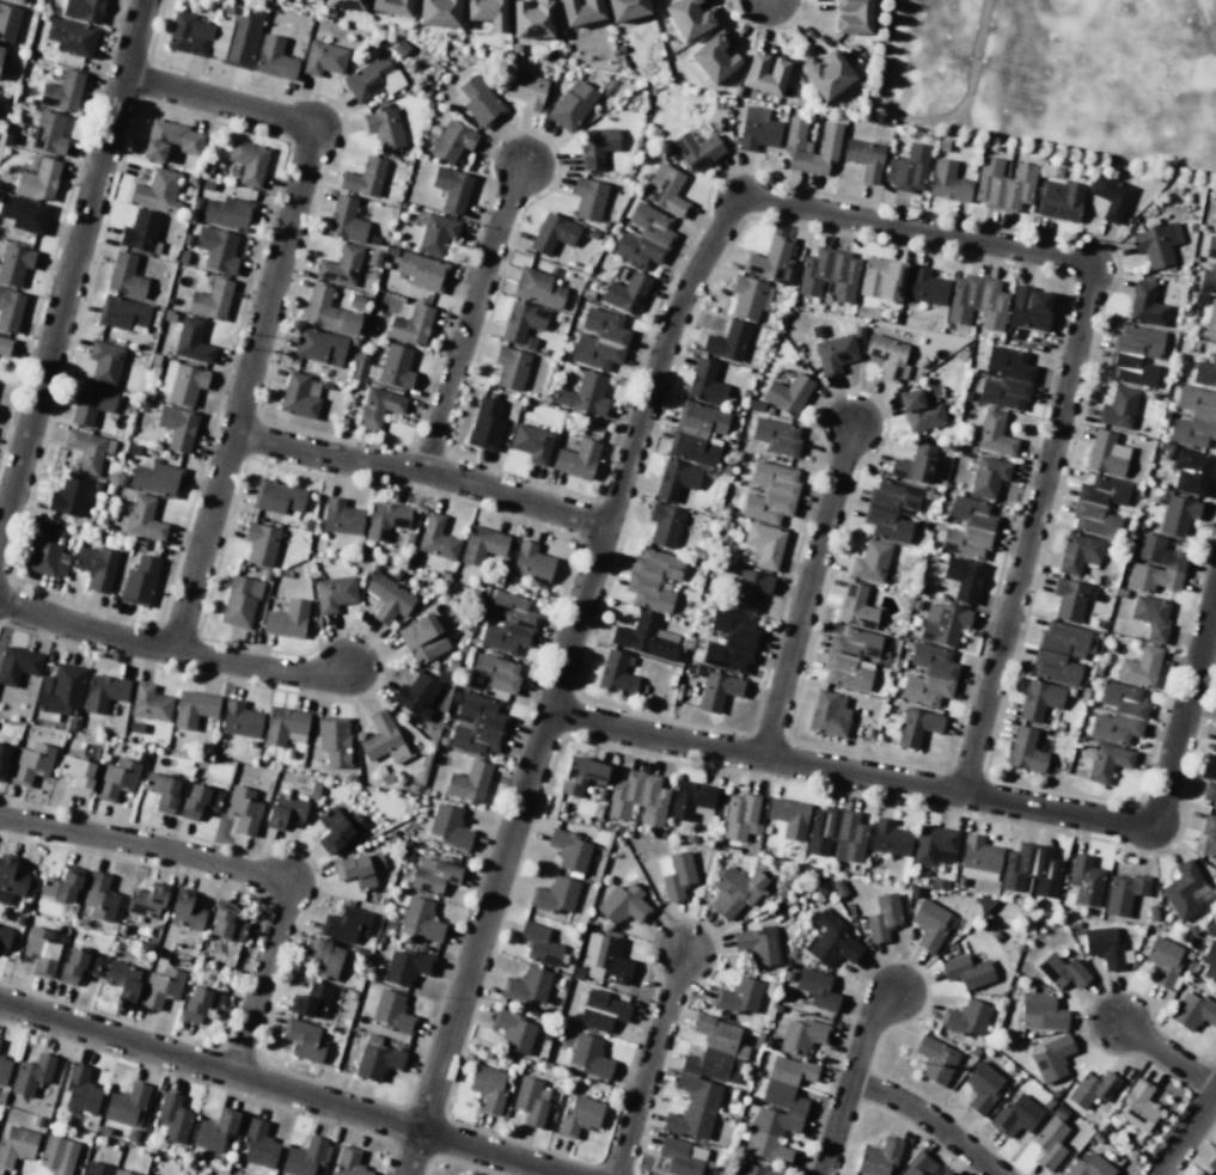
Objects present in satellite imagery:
building: (19, 0)
building: (346, 4)
building: (391, 6)
building: (625, 8)
building: (83, 10)
building: (580, 11)
building: (438, 12)
building: (487, 12)
building: (850, 16)
building: (688, 18)
building: (531, 19)
building: (8, 23)
building: (188, 35)
building: (71, 36)
building: (233, 41)
building: (274, 59)
building: (323, 59)
building: (713, 59)
building: (1, 61)
building: (763, 73)
building: (825, 73)
building: (372, 78)
building: (525, 90)
building: (62, 91)
building: (479, 102)
building: (570, 104)
building: (384, 128)
building: (757, 129)
building: (48, 133)
building: (170, 140)
building: (452, 141)
building: (595, 146)
building: (795, 146)
building: (696, 149)
building: (863, 159)
building: (248, 161)
building: (908, 169)
building: (365, 177)
building: (37, 180)
building: (947, 182)
building: (1002, 184)
building: (451, 189)
building: (664, 190)
building: (157, 191)
building: (1110, 196)
building: (588, 198)
building: (1059, 200)
building: (227, 213)
building: (24, 214)
building: (344, 219)
building: (1215, 228)
building: (140, 231)
building: (551, 233)
building: (435, 234)
building: (643, 237)
building: (1156, 244)
building: (1210, 247)
building: (216, 250)
building: (769, 259)
building: (14, 264)
building: (340, 265)
road: (71, 267)
building: (827, 274)
building: (124, 276)
building: (880, 279)
building: (1206, 282)
building: (537, 287)
building: (924, 287)
building: (625, 293)
road: (271, 294)
building: (748, 298)
building: (210, 299)
building: (976, 301)
building: (1145, 305)
building: (1028, 308)
building: (10, 310)
building: (326, 311)
building: (122, 314)
road: (472, 319)
building: (521, 320)
building: (1210, 320)
building: (410, 325)
building: (599, 339)
building: (191, 341)
building: (726, 342)
building: (319, 345)
building: (5, 347)
building: (833, 353)
building: (1135, 355)
building: (887, 356)
building: (104, 362)
road: (1074, 363)
building: (396, 367)
building: (509, 368)
building: (1205, 372)
building: (1004, 378)
building: (183, 383)
building: (704, 383)
building: (787, 393)
building: (583, 394)
building: (299, 396)
building: (91, 404)
building: (379, 406)
building: (1118, 408)
building: (918, 411)
building: (701, 417)
building: (1193, 417)
building: (485, 424)
building: (176, 427)
building: (994, 434)
building: (776, 436)
building: (531, 442)
building: (692, 447)
building: (87, 449)
building: (1105, 454)
building: (576, 459)
building: (913, 464)
road: (422, 471)
building: (1190, 471)
building: (988, 476)
building: (155, 477)
building: (674, 479)
building: (770, 492)
building: (68, 496)
building: (276, 496)
building: (1098, 506)
building: (890, 509)
building: (1177, 515)
building: (341, 516)
building: (143, 518)
building: (384, 519)
building: (664, 525)
building: (968, 527)
building: (436, 538)
building: (259, 544)
building: (482, 544)
building: (764, 544)
building: (47, 551)
building: (1078, 552)
building: (869, 562)
building: (531, 563)
building: (1154, 565)
building: (96, 567)
building: (653, 579)
building: (963, 579)
building: (139, 581)
building: (750, 589)
building: (334, 593)
road: (808, 593)
building: (387, 598)
building: (1068, 599)
building: (239, 601)
building: (854, 606)
building: (1150, 617)
building: (286, 619)
building: (508, 623)
building: (942, 623)
building: (644, 637)
building: (422, 638)
building: (731, 641)
road: (171, 651)
building: (1061, 653)
building: (850, 659)
building: (17, 665)
building: (1139, 667)
building: (495, 672)
building: (616, 674)
building: (928, 674)
road: (557, 681)
building: (61, 690)
building: (717, 691)
building: (103, 692)
building: (415, 694)
building: (1038, 699)
building: (149, 703)
road: (1181, 705)
building: (193, 708)
building: (827, 714)
building: (1118, 714)
building: (239, 718)
building: (283, 726)
building: (477, 726)
building: (916, 727)
building: (381, 739)
building: (334, 740)
building: (1215, 745)
building: (1025, 751)
building: (2, 759)
building: (1106, 761)
building: (30, 764)
road: (847, 773)
building: (77, 775)
building: (580, 775)
building: (116, 779)
building: (468, 782)
building: (161, 791)
building: (1209, 791)
building: (637, 797)
building: (198, 801)
building: (243, 809)
building: (285, 810)
building: (739, 816)
building: (788, 816)
building: (448, 827)
building: (336, 828)
building: (836, 834)
building: (1208, 837)
building: (888, 838)
building: (934, 844)
building: (568, 850)
building: (978, 858)
building: (359, 869)
building: (1031, 869)
road: (236, 870)
building: (433, 875)
building: (677, 876)
building: (11, 881)
building: (1084, 881)
building: (61, 886)
building: (1184, 891)
building: (734, 892)
building: (1123, 893)
building: (554, 895)
building: (99, 896)
building: (145, 901)
building: (622, 905)
building: (185, 913)
building: (882, 917)
building: (420, 918)
building: (225, 923)
building: (346, 924)
building: (928, 924)
building: (4, 937)
building: (831, 941)
building: (538, 943)
building: (757, 944)
building: (1105, 947)
building: (41, 950)
building: (324, 957)
building: (605, 959)
building: (1209, 963)
building: (77, 966)
building: (405, 966)
building: (966, 971)
building: (1062, 972)
building: (122, 979)
building: (526, 985)
building: (160, 987)
building: (815, 989)
building: (738, 996)
building: (311, 1000)
building: (201, 1004)
building: (601, 1011)
building: (1040, 1011)
building: (1192, 1011)
building: (392, 1012)
building: (965, 1017)
building: (513, 1032)
building: (801, 1035)
building: (303, 1040)
building: (715, 1051)
building: (589, 1055)
building: (1051, 1058)
road: (1169, 1058)
building: (377, 1060)
building: (935, 1060)
road: (649, 1065)
building: (4, 1070)
building: (31, 1073)
road: (850, 1081)
road: (276, 1085)
building: (982, 1087)
building: (487, 1088)
building: (1092, 1088)
building: (80, 1090)
building: (530, 1101)
building: (126, 1104)
building: (692, 1107)
building: (1137, 1107)
building: (777, 1109)
building: (579, 1115)
building: (1015, 1115)
building: (172, 1118)
road: (929, 1119)
building: (215, 1131)
road: (1185, 1134)
building: (1049, 1143)
building: (16, 1145)
building: (258, 1145)
building: (57, 1155)
building: (682, 1156)
building: (303, 1157)
building: (876, 1158)
building: (348, 1162)
building: (1212, 1163)
building: (918, 1165)
building: (1087, 1165)
building: (102, 1169)
building: (757, 1170)
building: (943, 1173)

